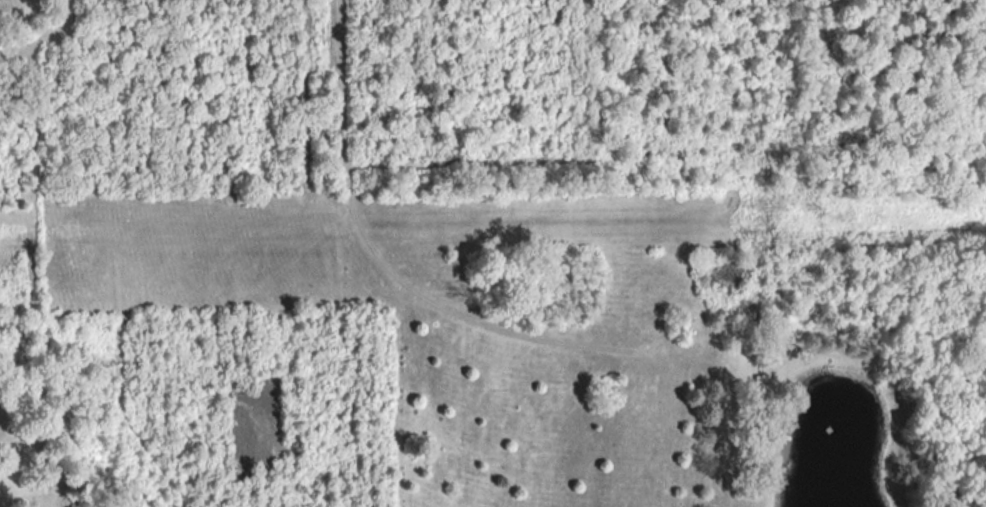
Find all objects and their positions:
road: (384, 264)
building: (760, 387)

